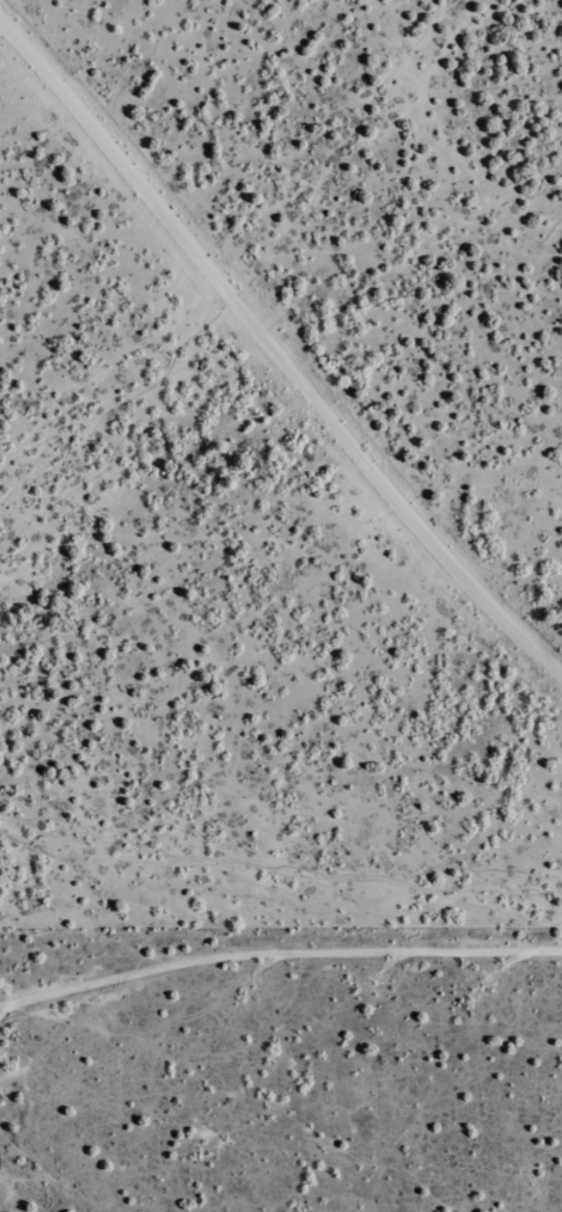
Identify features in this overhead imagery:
road: (265, 354)
road: (277, 950)

